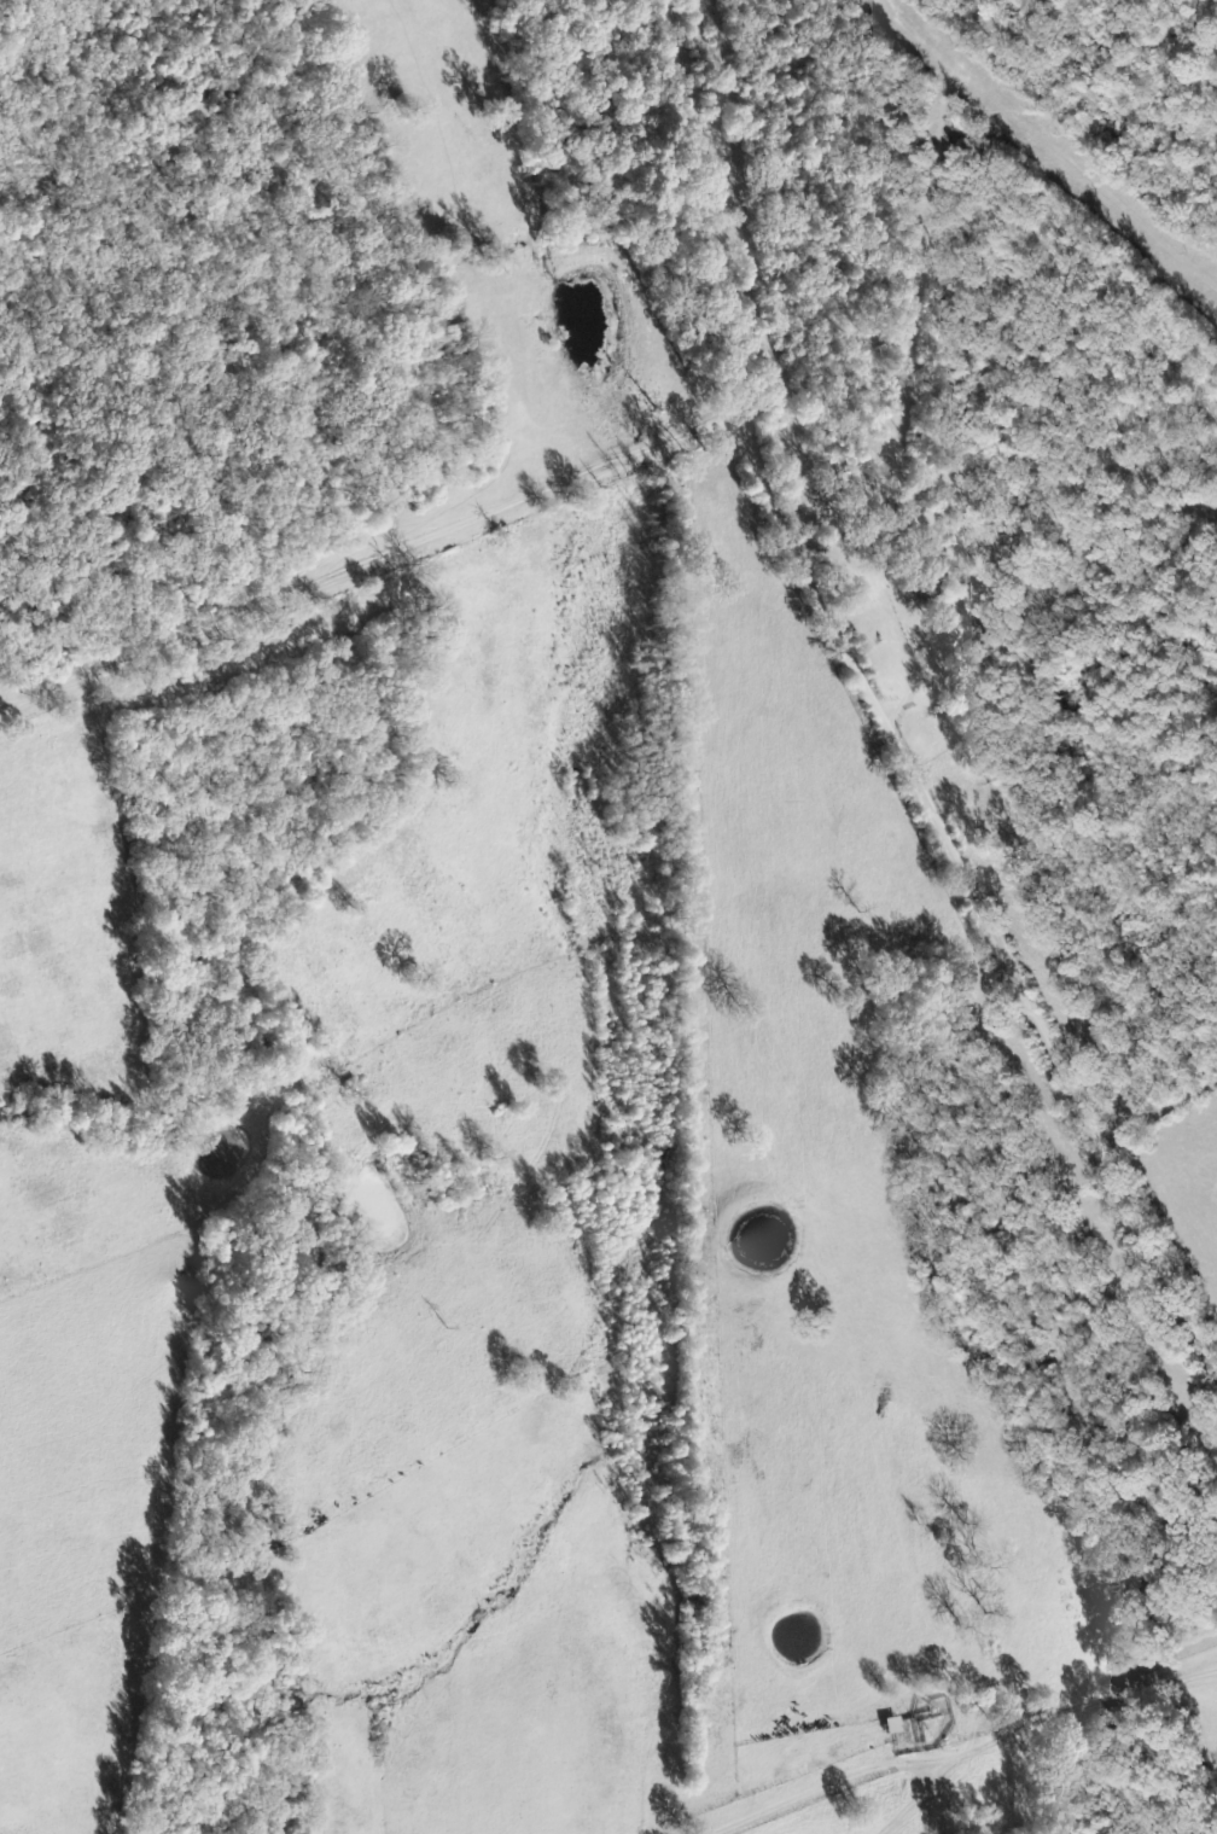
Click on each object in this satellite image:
building: (926, 580)
road: (873, 709)
road: (1153, 1098)

